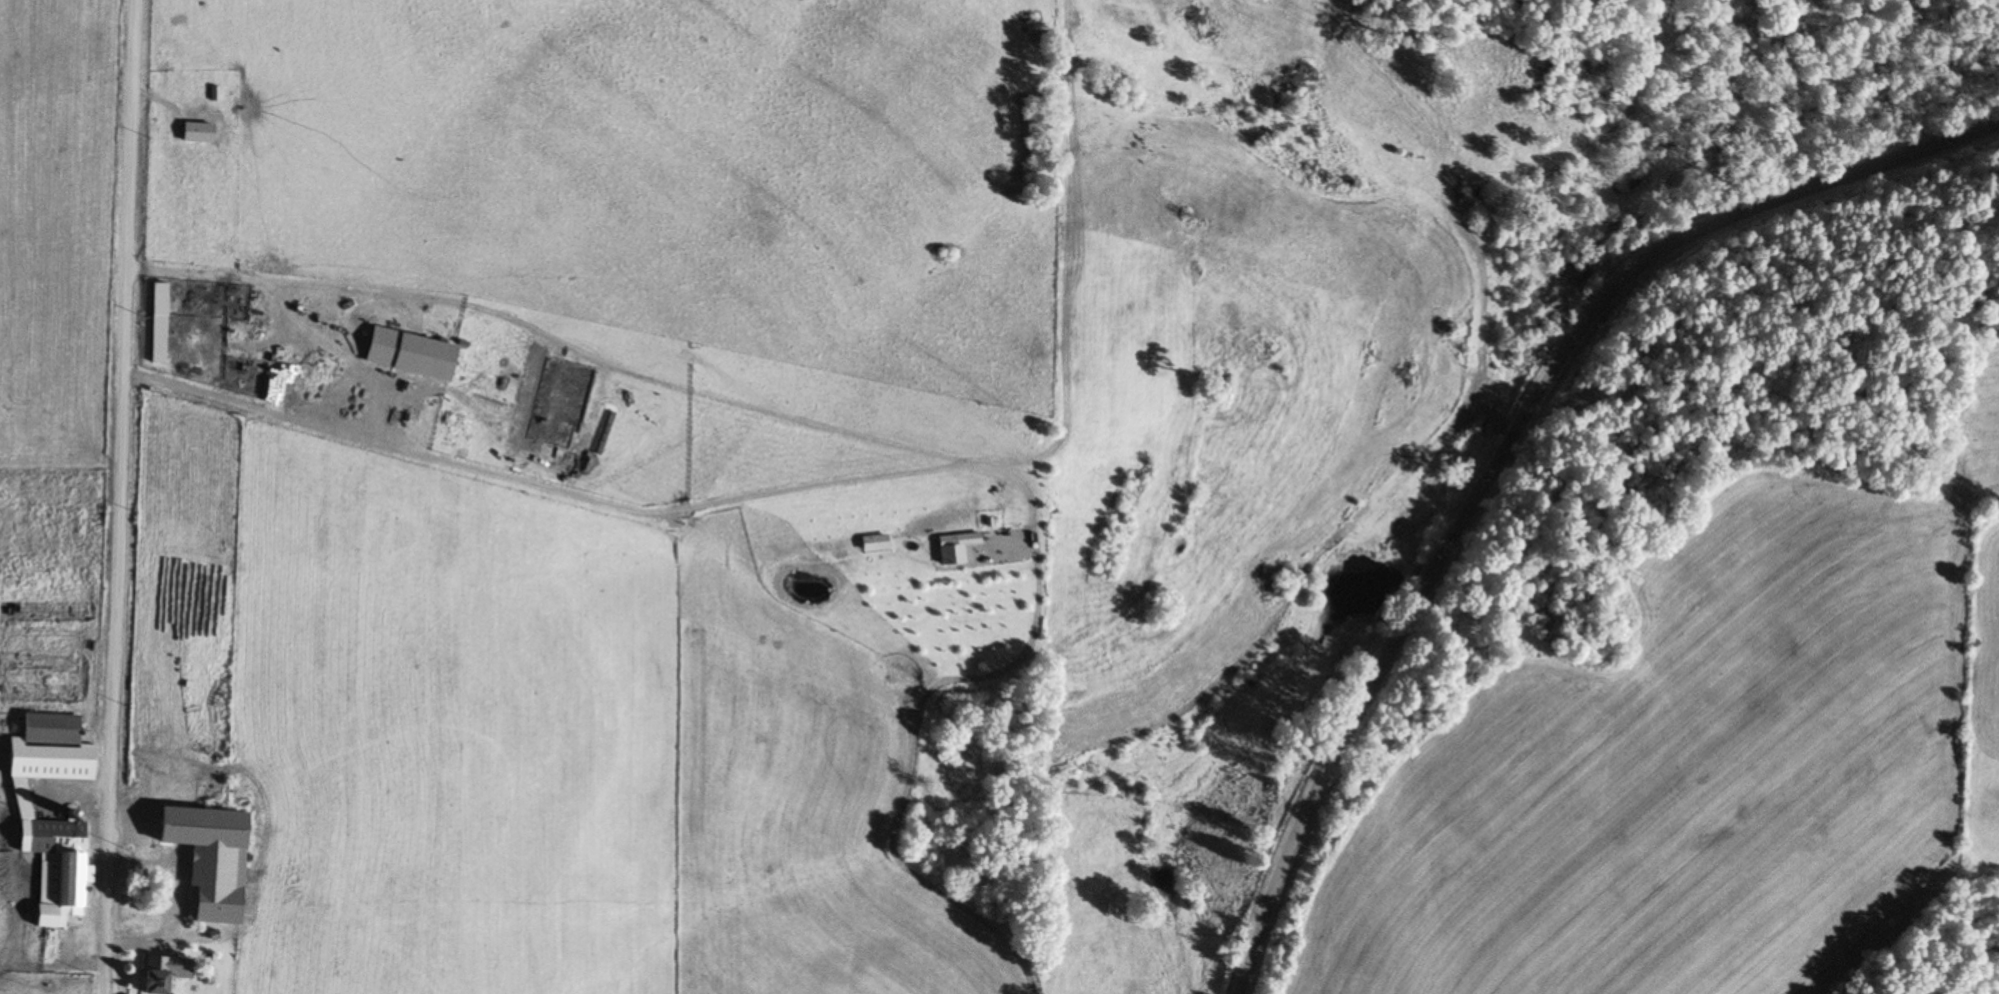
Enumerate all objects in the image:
road: (1508, 447)
road: (117, 496)
building: (54, 728)
building: (62, 876)
building: (190, 908)
road: (132, 940)
building: (154, 974)

